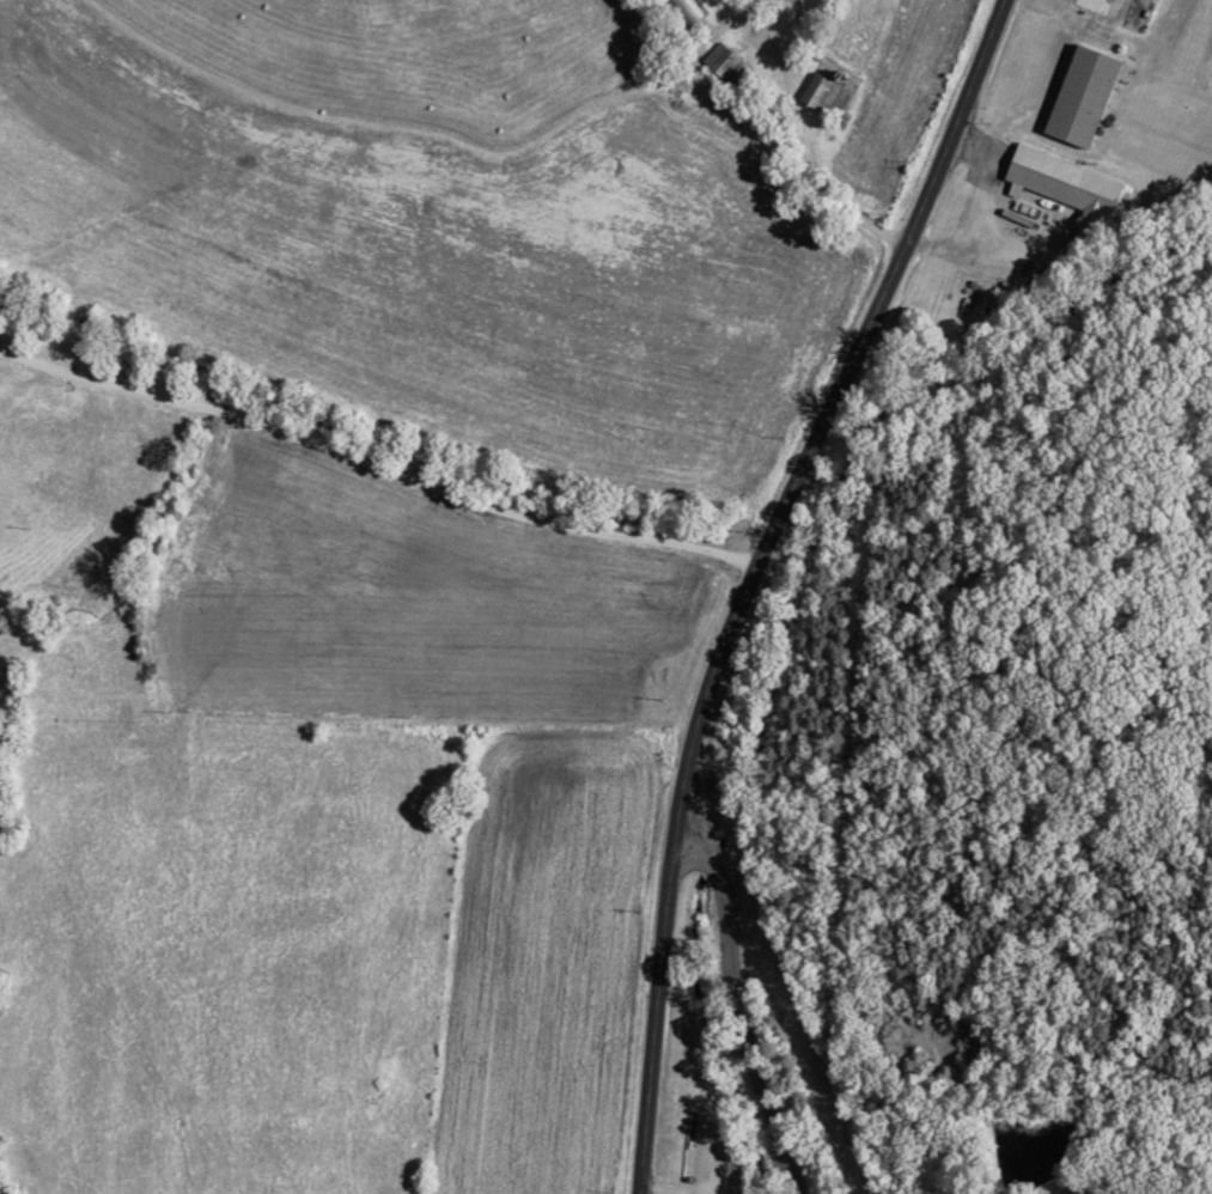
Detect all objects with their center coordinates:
building: (1100, 7)
building: (684, 12)
building: (725, 68)
building: (823, 100)
road: (793, 175)
building: (1065, 187)
road: (760, 578)
road: (742, 1010)

